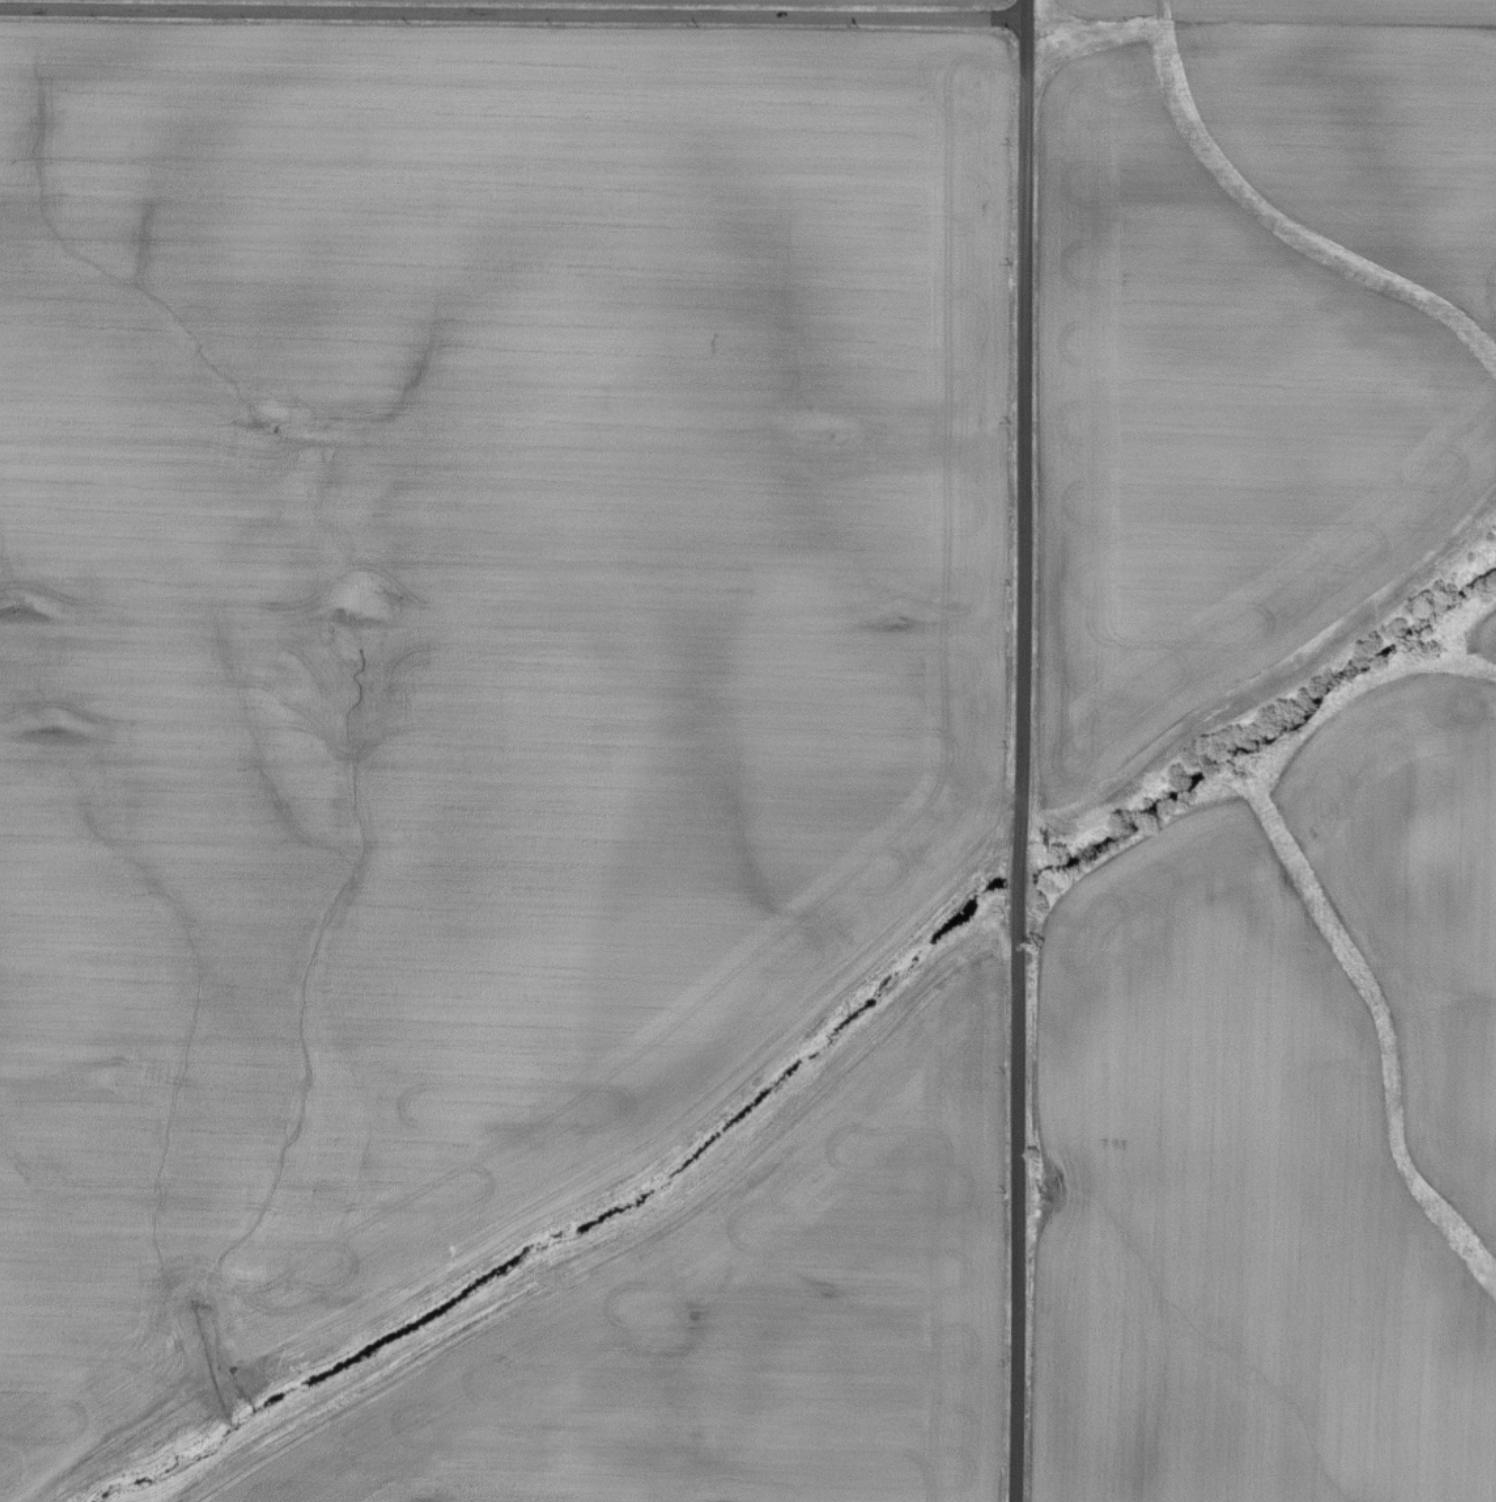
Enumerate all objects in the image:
road: (512, 14)
road: (1020, 751)

